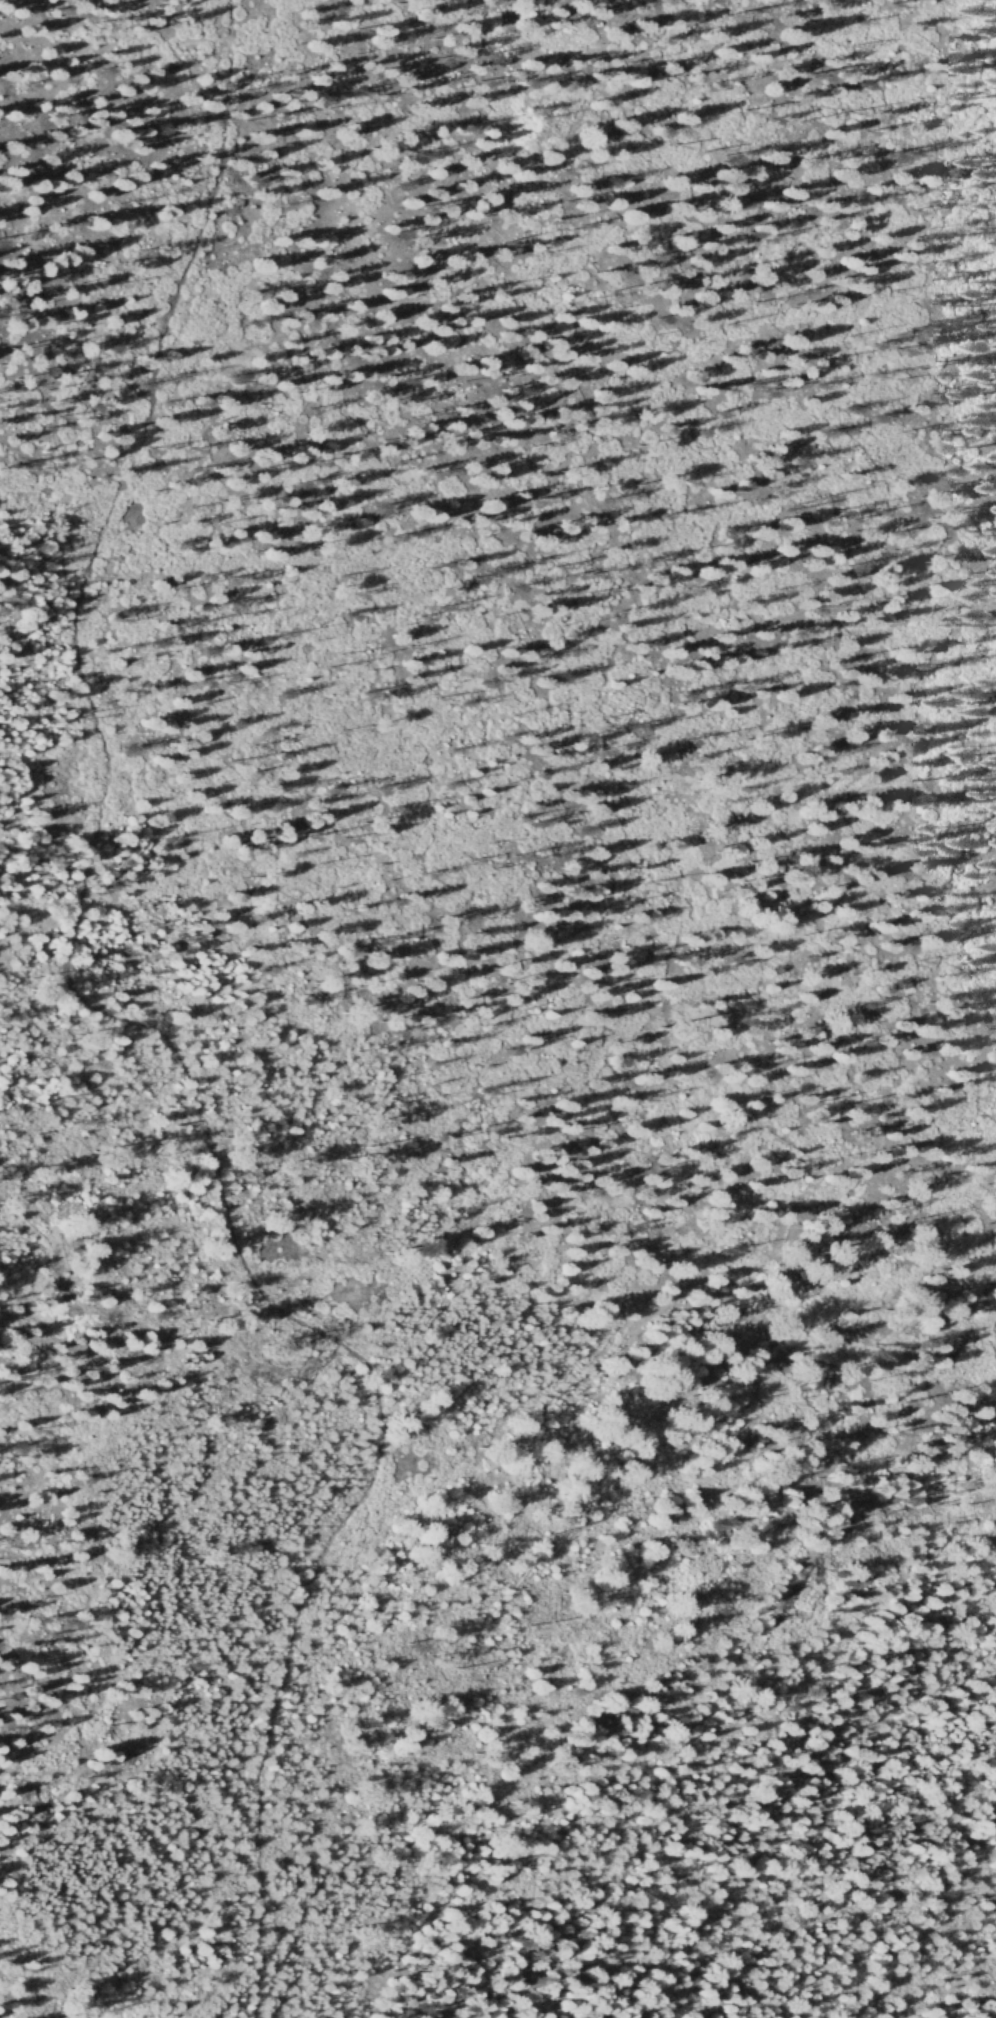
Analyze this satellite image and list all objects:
road: (133, 1040)

